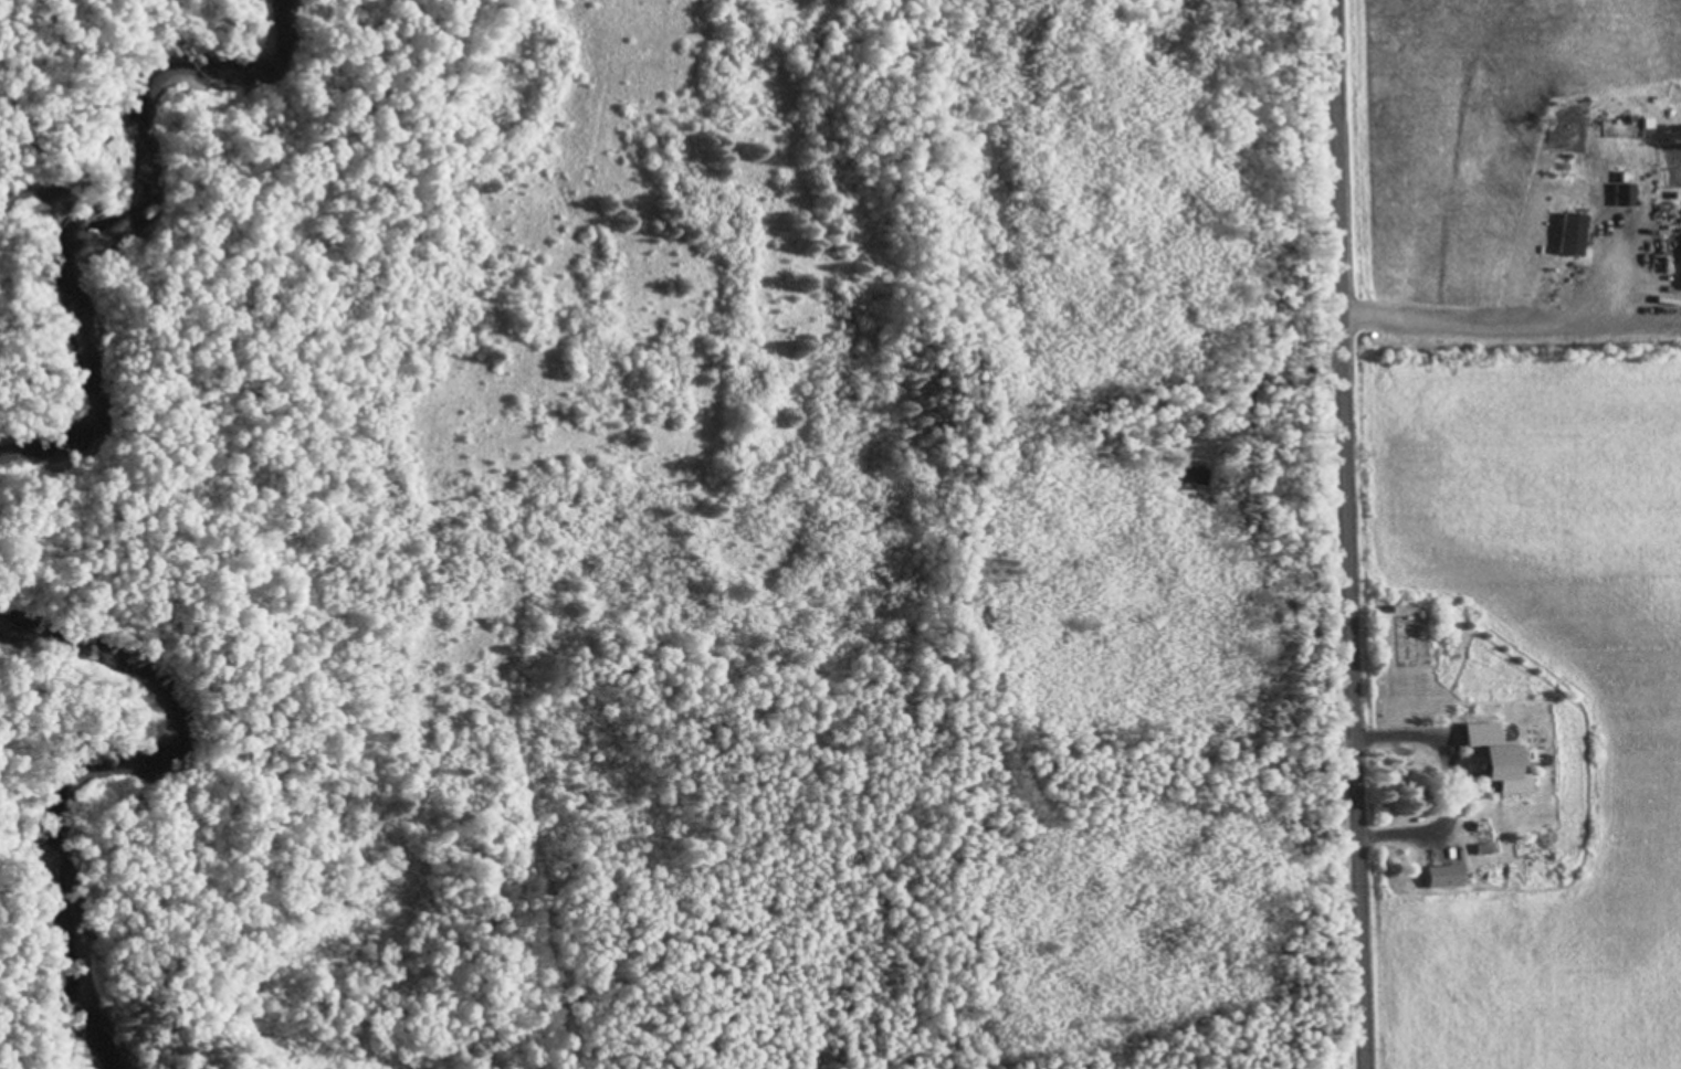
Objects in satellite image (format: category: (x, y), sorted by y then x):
road: (1353, 534)
building: (1504, 760)
building: (1439, 876)

